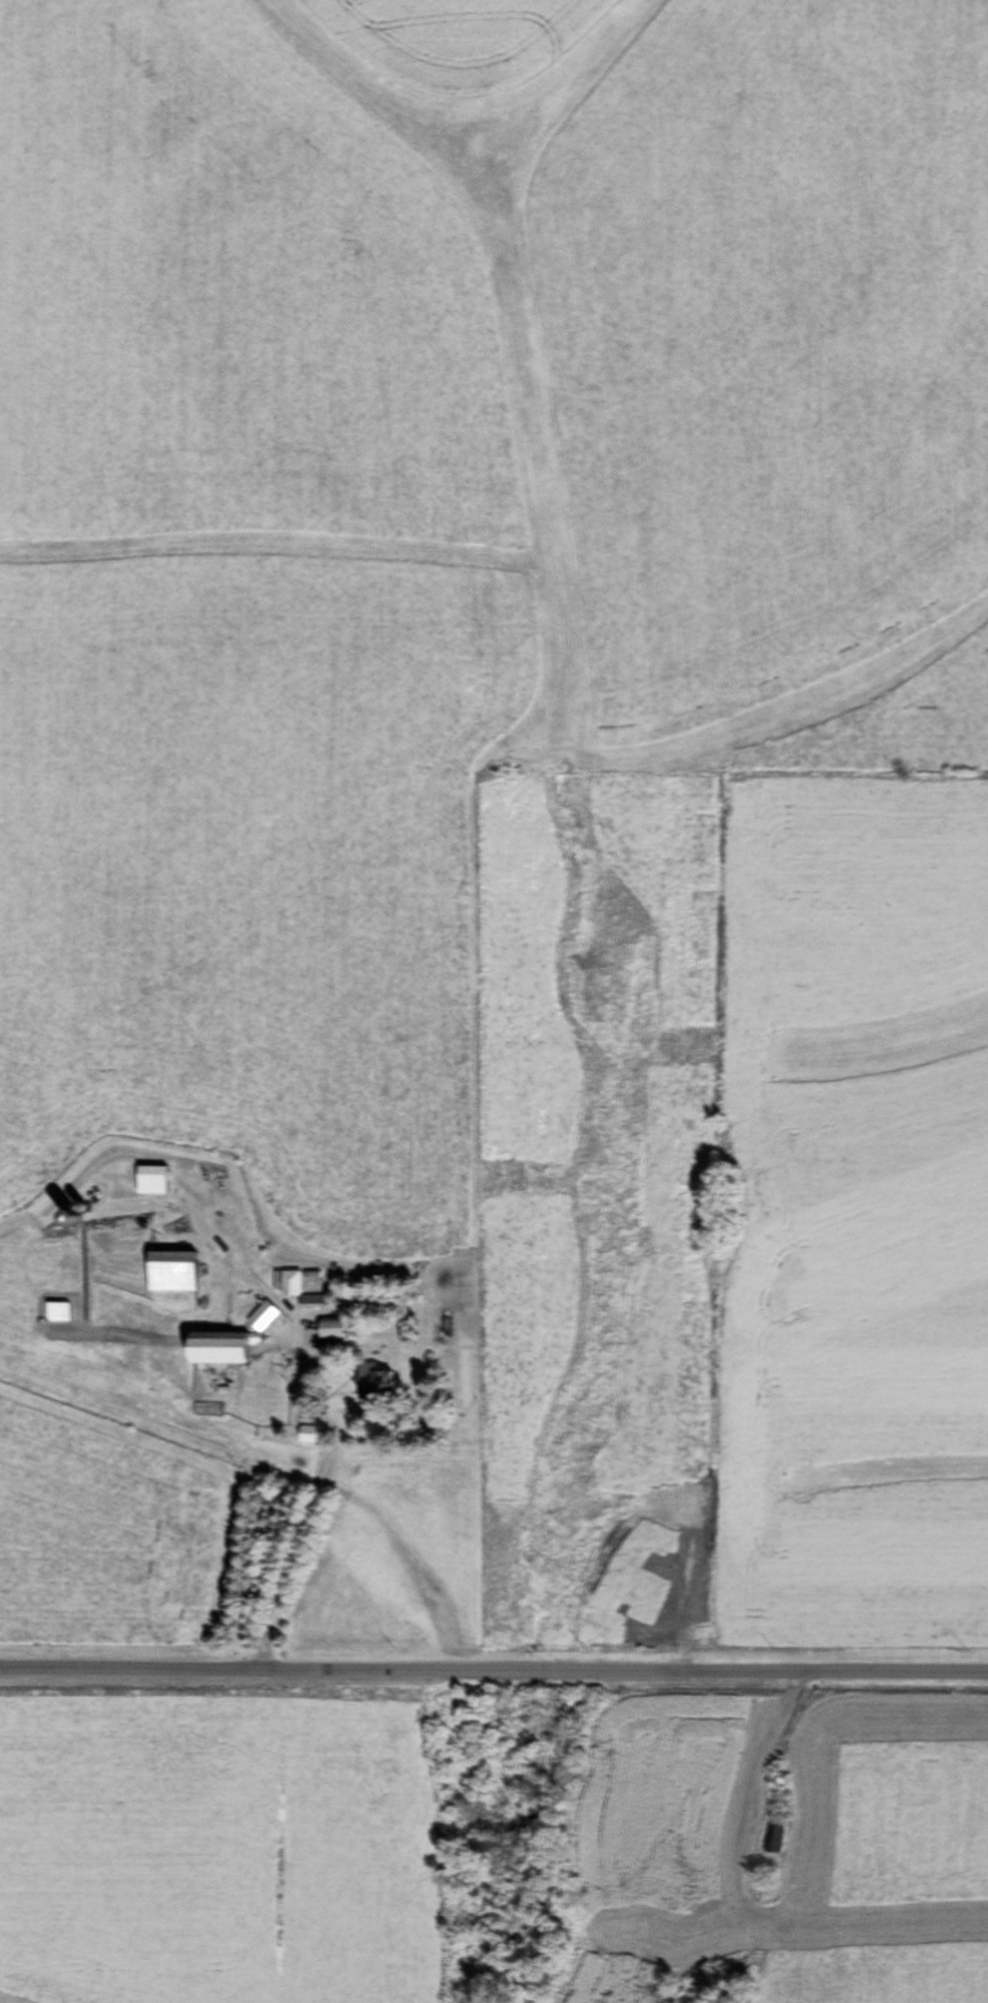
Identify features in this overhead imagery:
building: (154, 1176)
building: (173, 1273)
building: (292, 1285)
building: (62, 1313)
building: (335, 1331)
building: (221, 1350)
building: (378, 1383)
road: (494, 1677)
building: (775, 1838)

